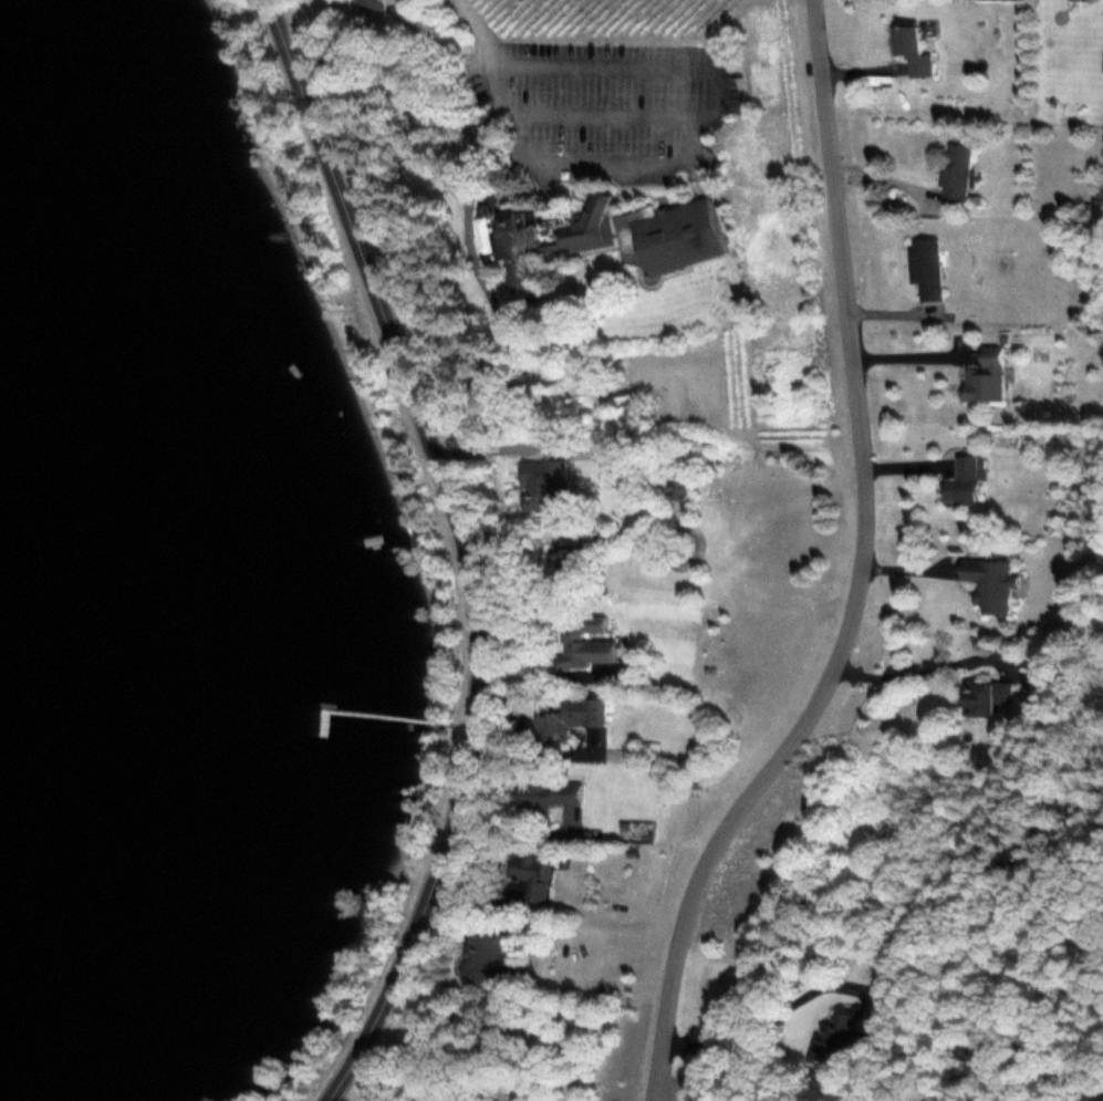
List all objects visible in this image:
building: (368, 4)
building: (405, 14)
road: (475, 25)
building: (909, 49)
building: (1102, 64)
parking lot: (605, 106)
road: (595, 114)
road: (410, 127)
road: (688, 127)
building: (954, 175)
building: (605, 238)
building: (924, 268)
road: (490, 294)
building: (985, 376)
building: (632, 412)
building: (962, 480)
building: (679, 485)
road: (466, 549)
building: (566, 567)
road: (860, 573)
building: (989, 582)
building: (585, 642)
building: (986, 695)
building: (570, 720)
building: (542, 791)
building: (533, 873)
building: (488, 956)
building: (844, 1032)
building: (433, 1095)

